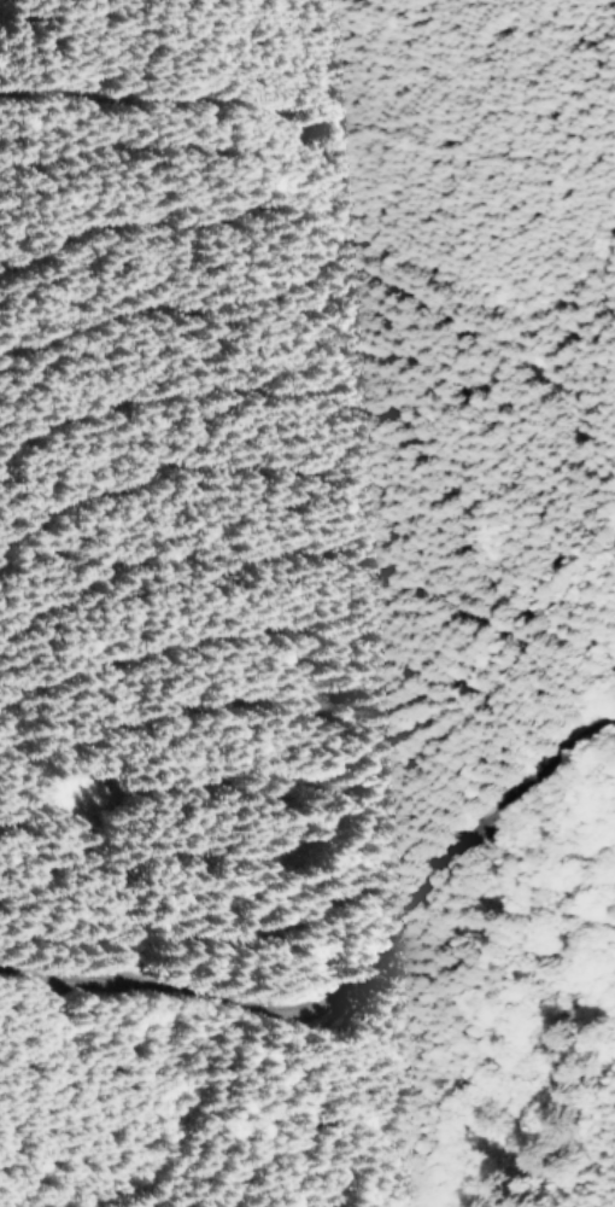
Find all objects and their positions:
road: (17, 64)
road: (317, 956)

